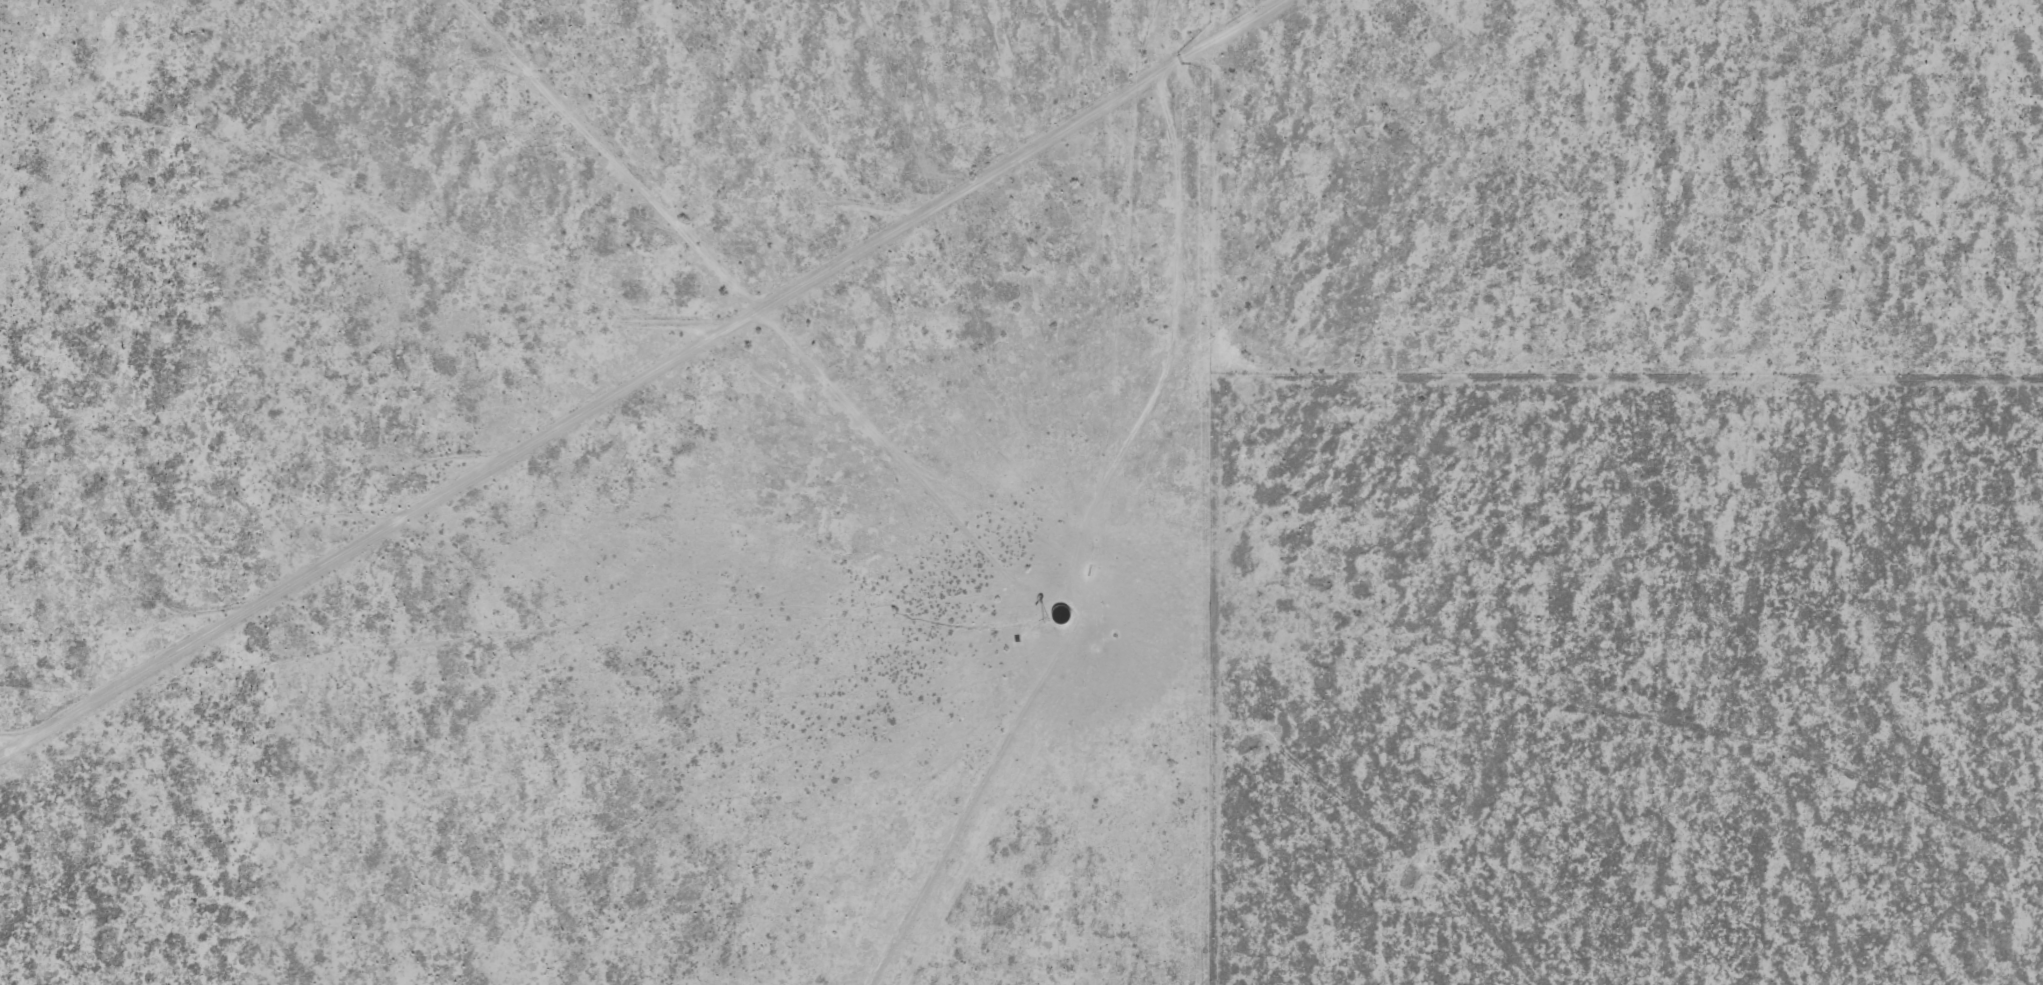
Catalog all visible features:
road: (1013, 173)
road: (966, 356)
road: (1126, 615)
road: (962, 799)
road: (1334, 836)

